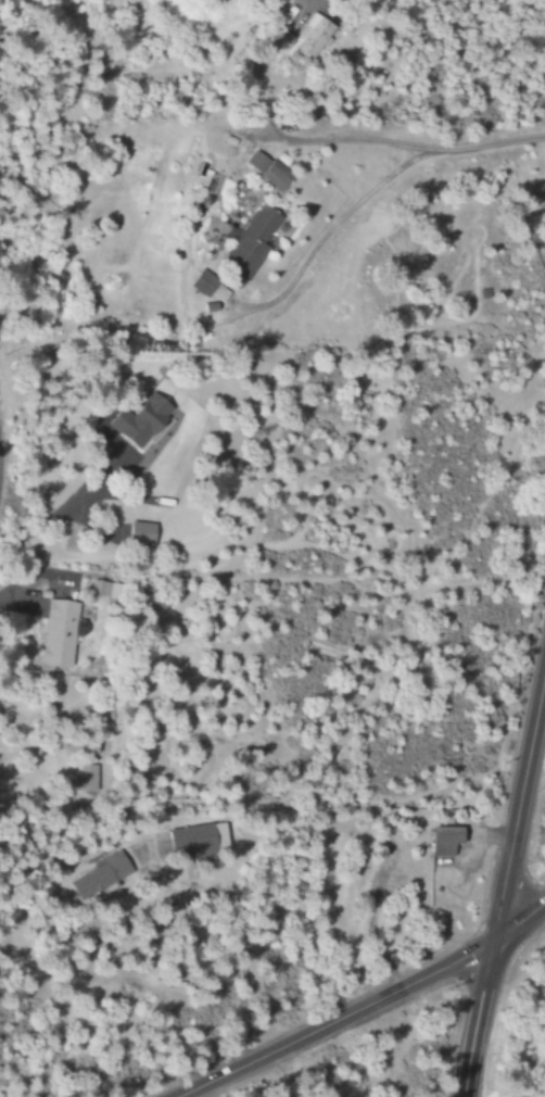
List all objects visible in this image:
building: (315, 37)
road: (398, 144)
building: (268, 171)
building: (251, 242)
building: (203, 283)
building: (134, 419)
building: (136, 532)
building: (55, 632)
building: (84, 746)
building: (439, 841)
building: (191, 842)
building: (97, 875)
road: (502, 877)
road: (364, 1005)

